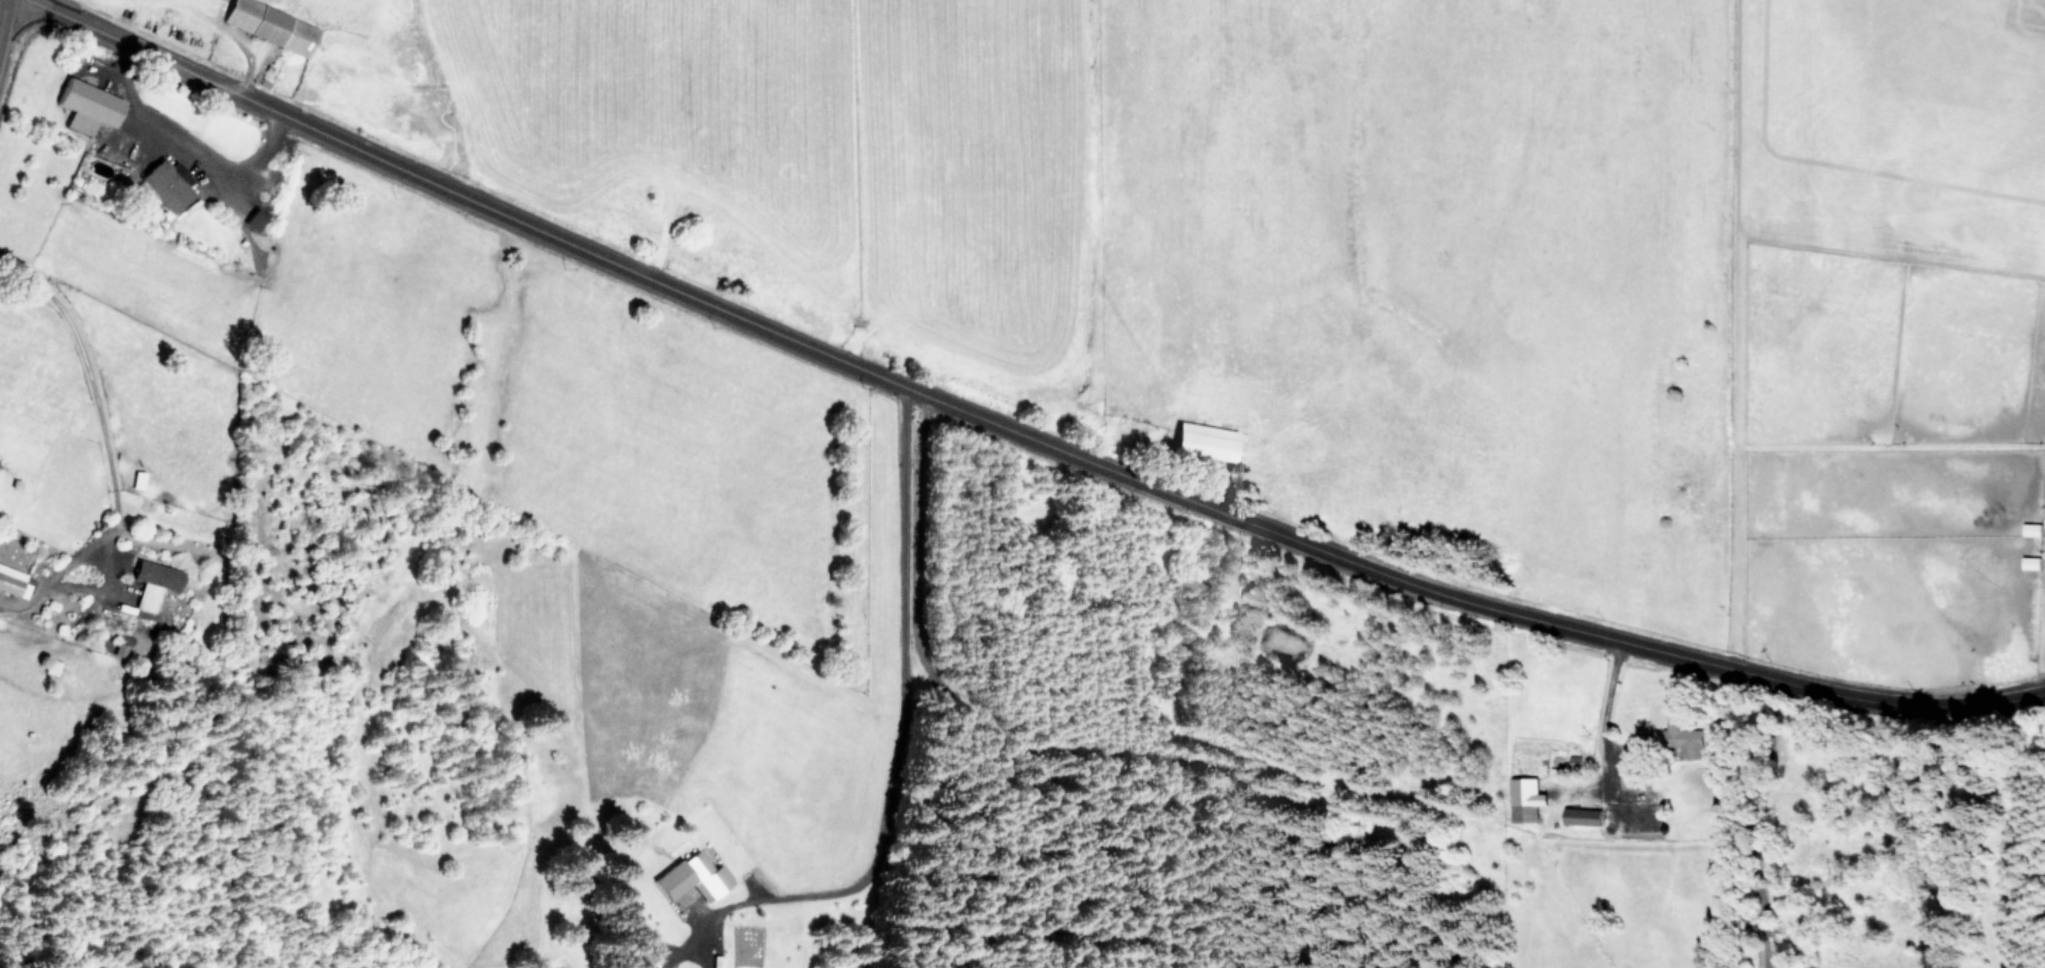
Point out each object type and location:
road: (0, 1)
building: (276, 25)
building: (91, 105)
road: (188, 142)
building: (172, 183)
building: (253, 217)
crop: (1062, 302)
road: (1009, 426)
building: (1203, 440)
road: (108, 442)
building: (136, 479)
building: (2030, 528)
building: (13, 581)
building: (152, 581)
building: (119, 649)
road: (1606, 707)
road: (896, 727)
building: (1683, 739)
building: (1525, 798)
building: (1580, 815)
building: (690, 876)

